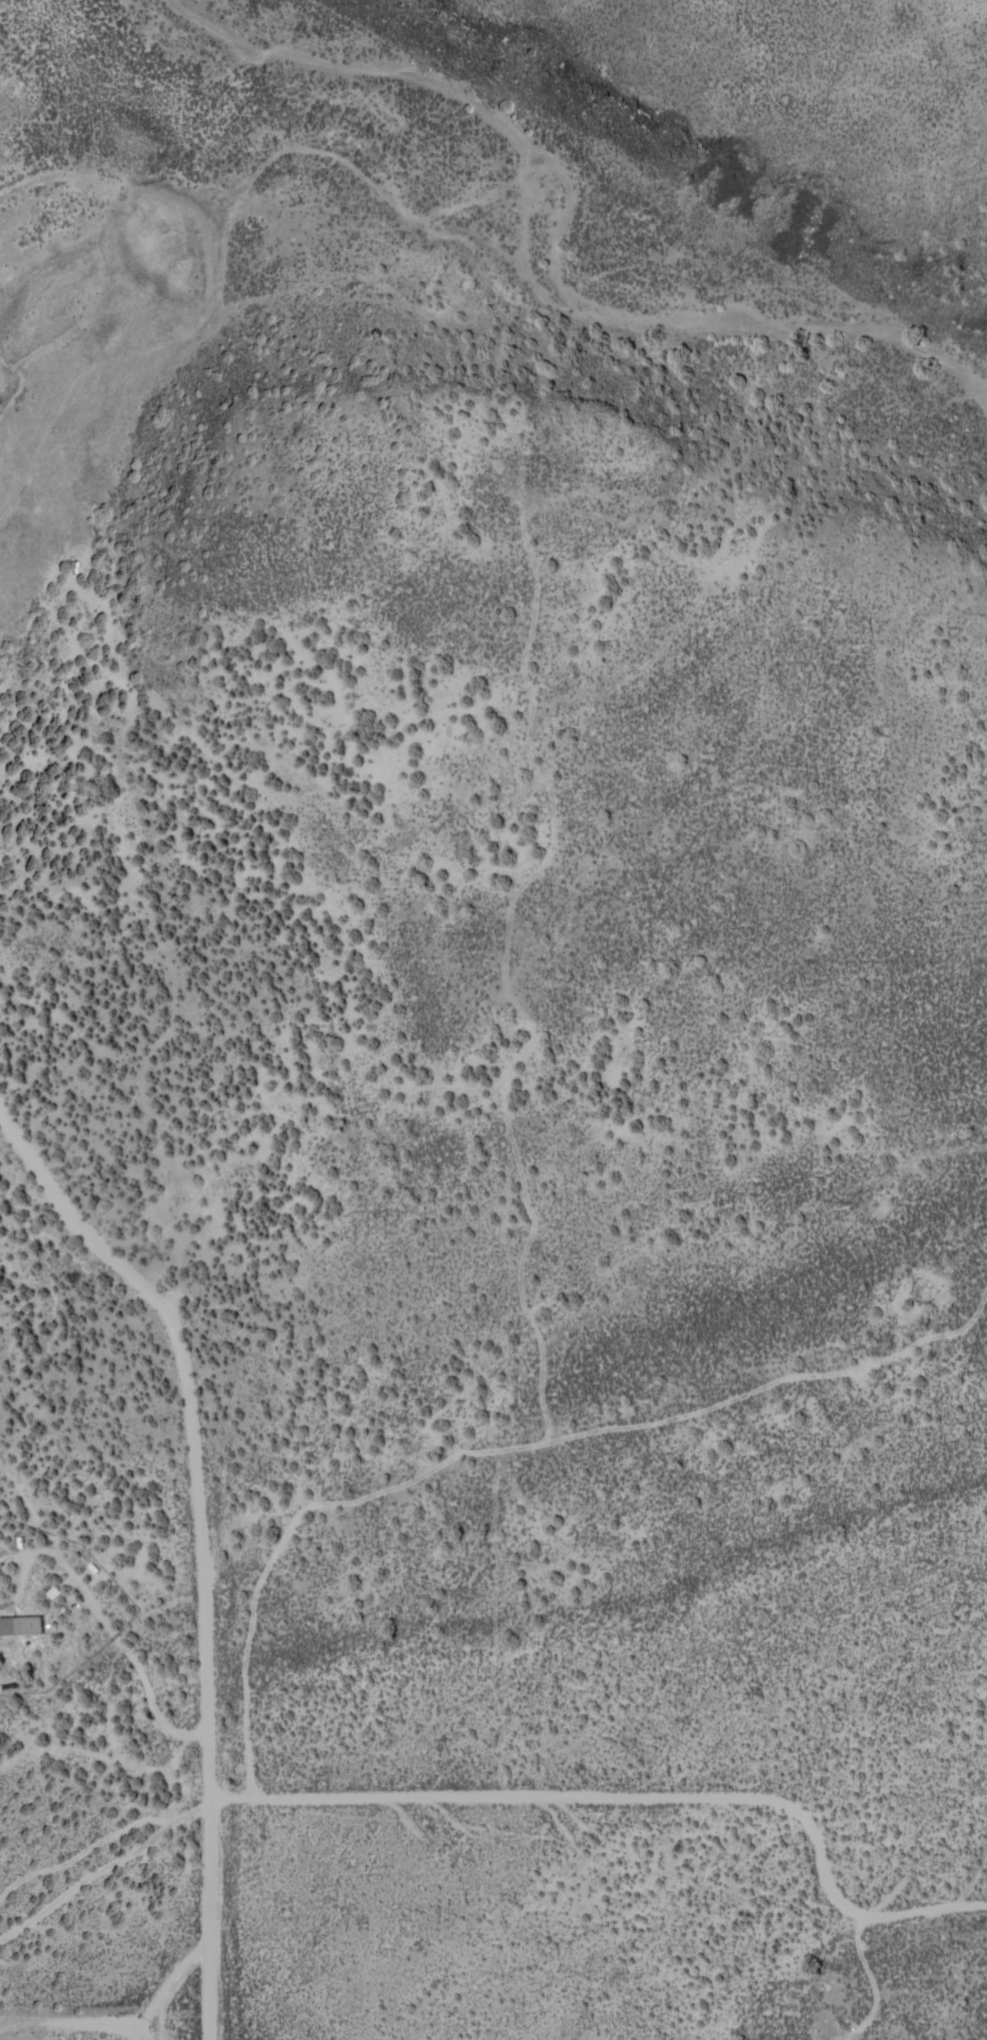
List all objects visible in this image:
road: (398, 1325)
road: (199, 1545)
building: (56, 1591)
building: (22, 1624)
road: (602, 1896)

